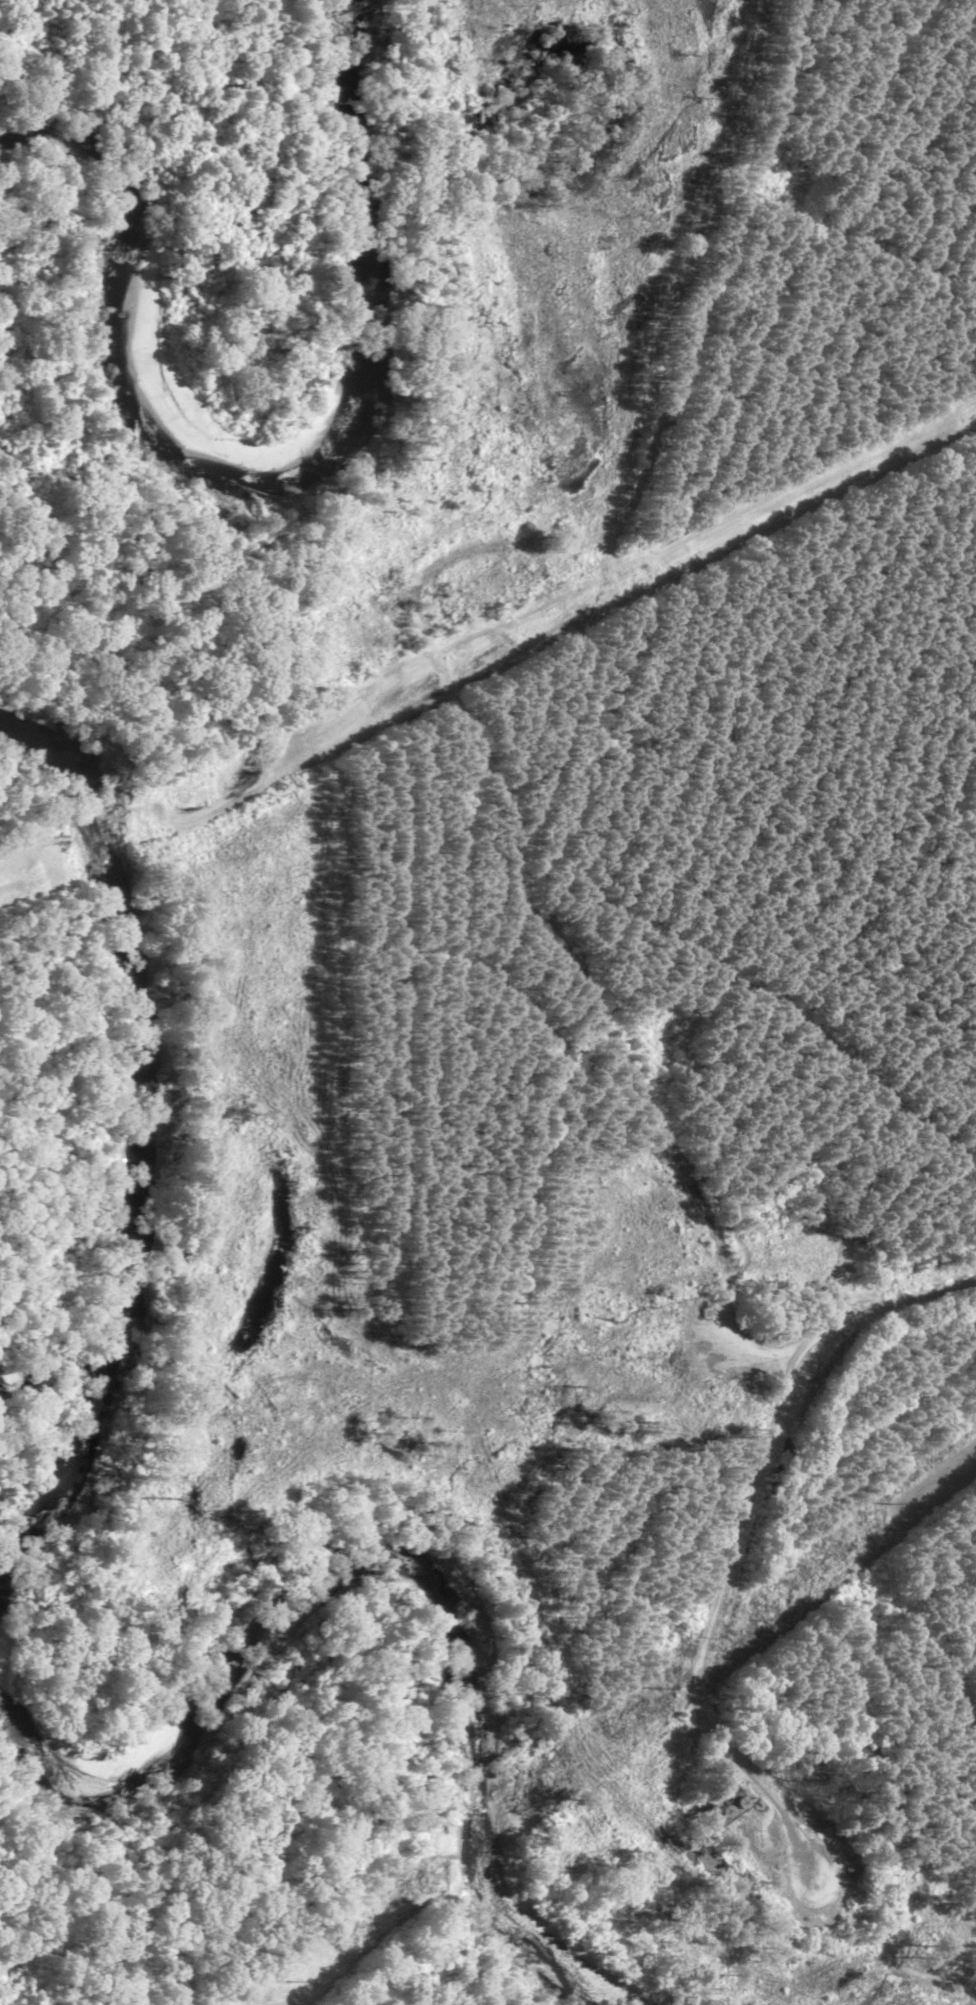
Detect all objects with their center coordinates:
river: (284, 475)
river: (139, 1140)
road: (737, 1533)
river: (384, 1572)
building: (722, 1814)

